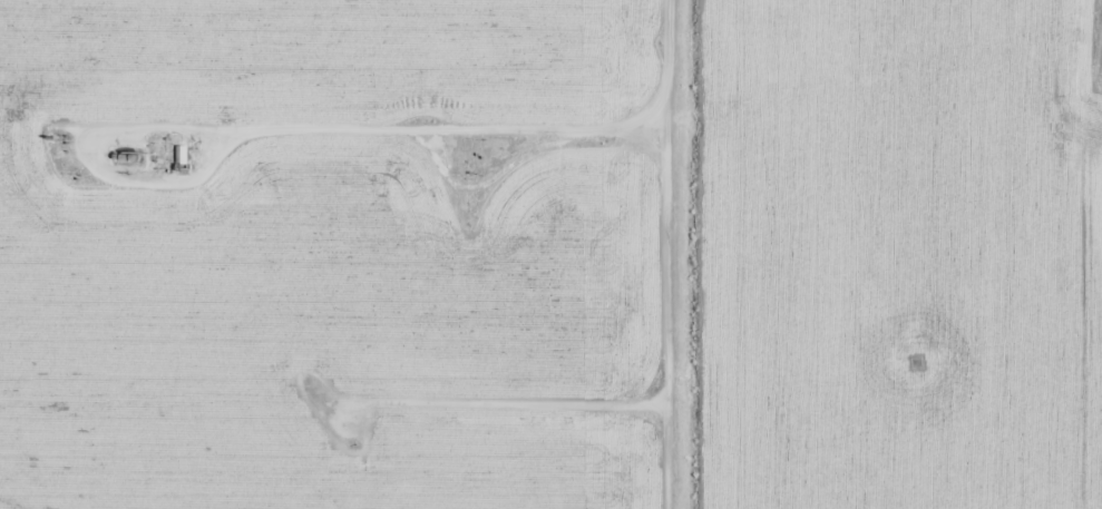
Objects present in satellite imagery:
building: (189, 156)

